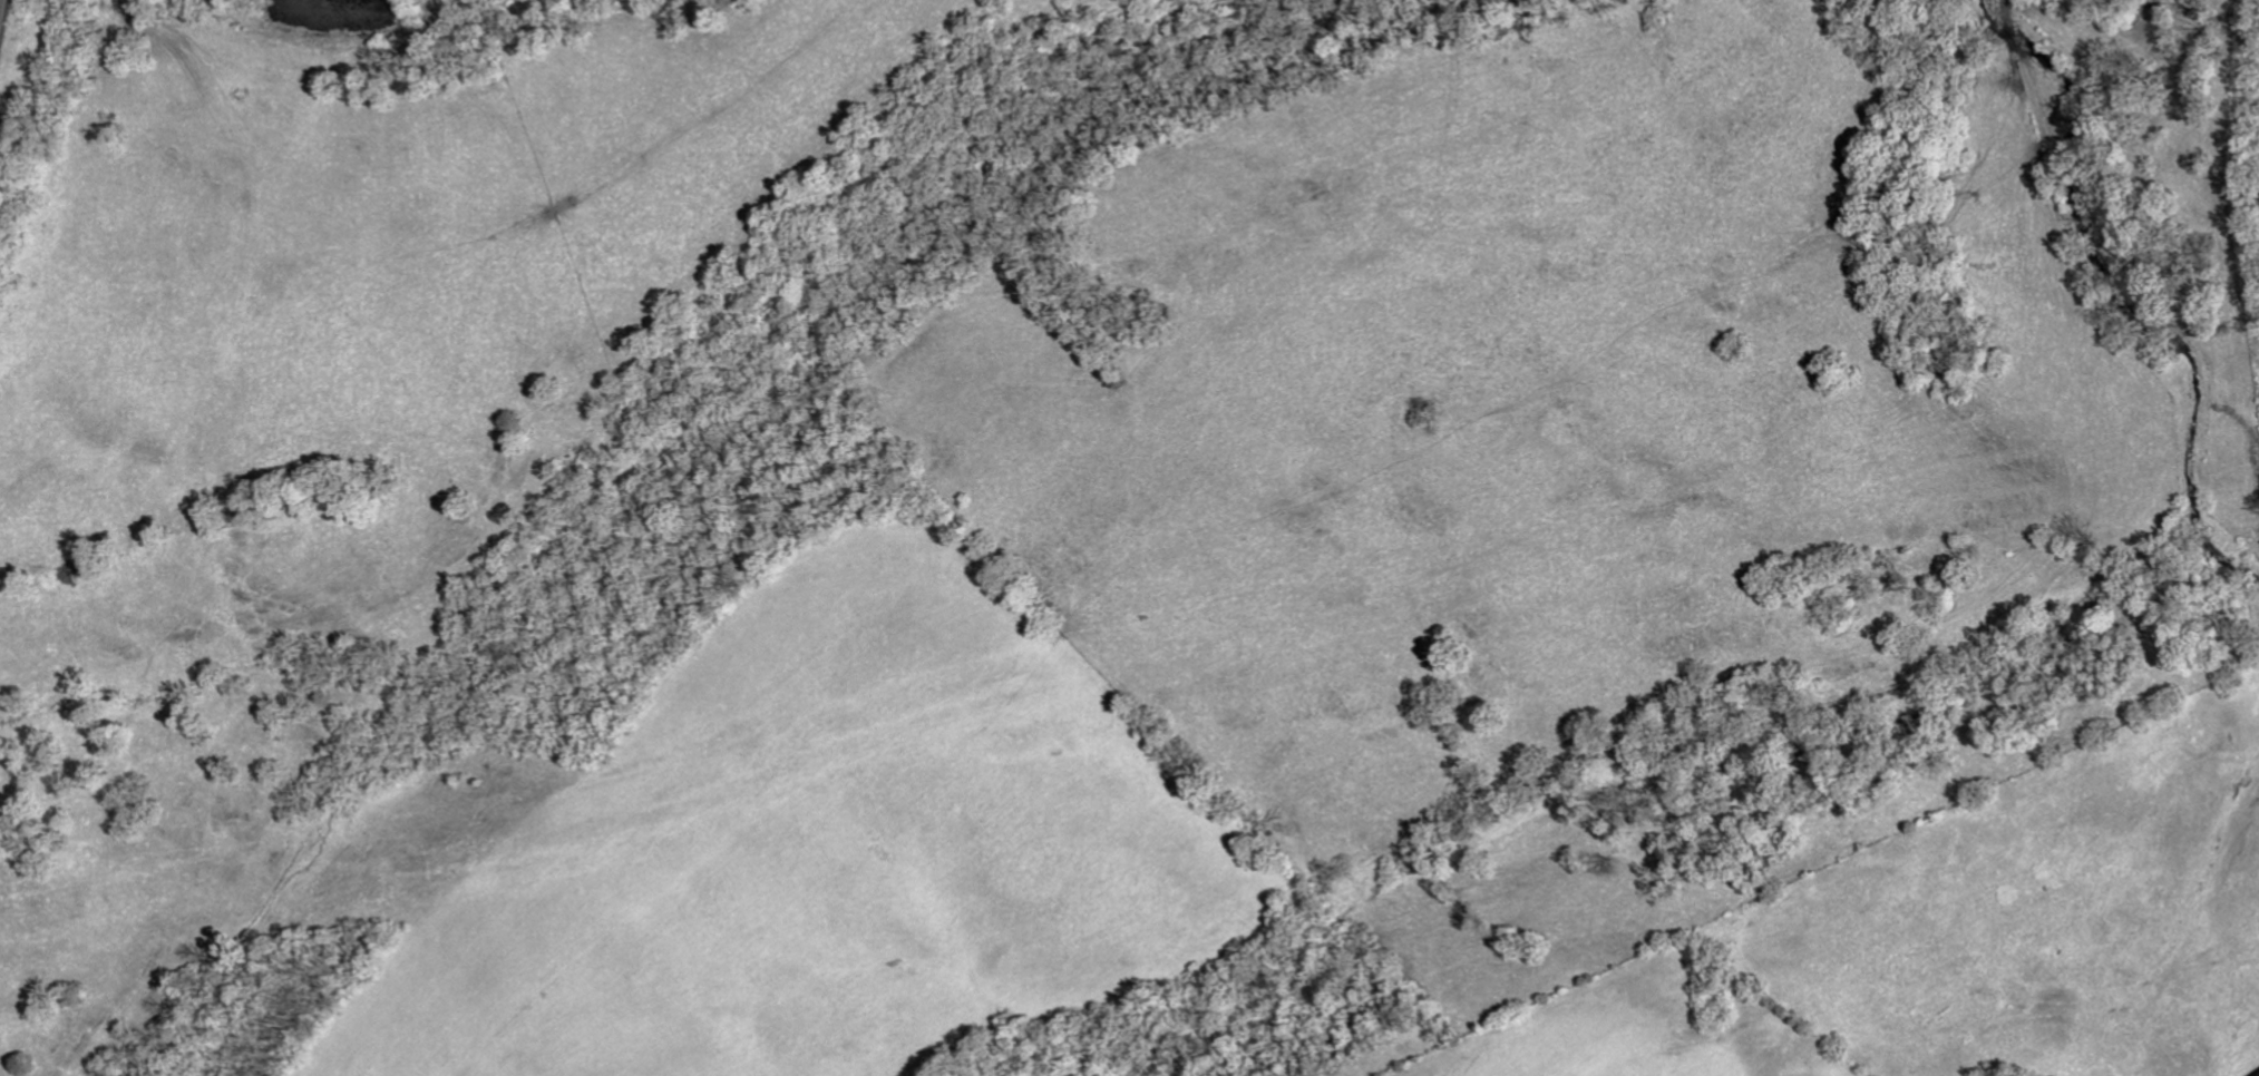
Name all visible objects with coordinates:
road: (2, 16)

